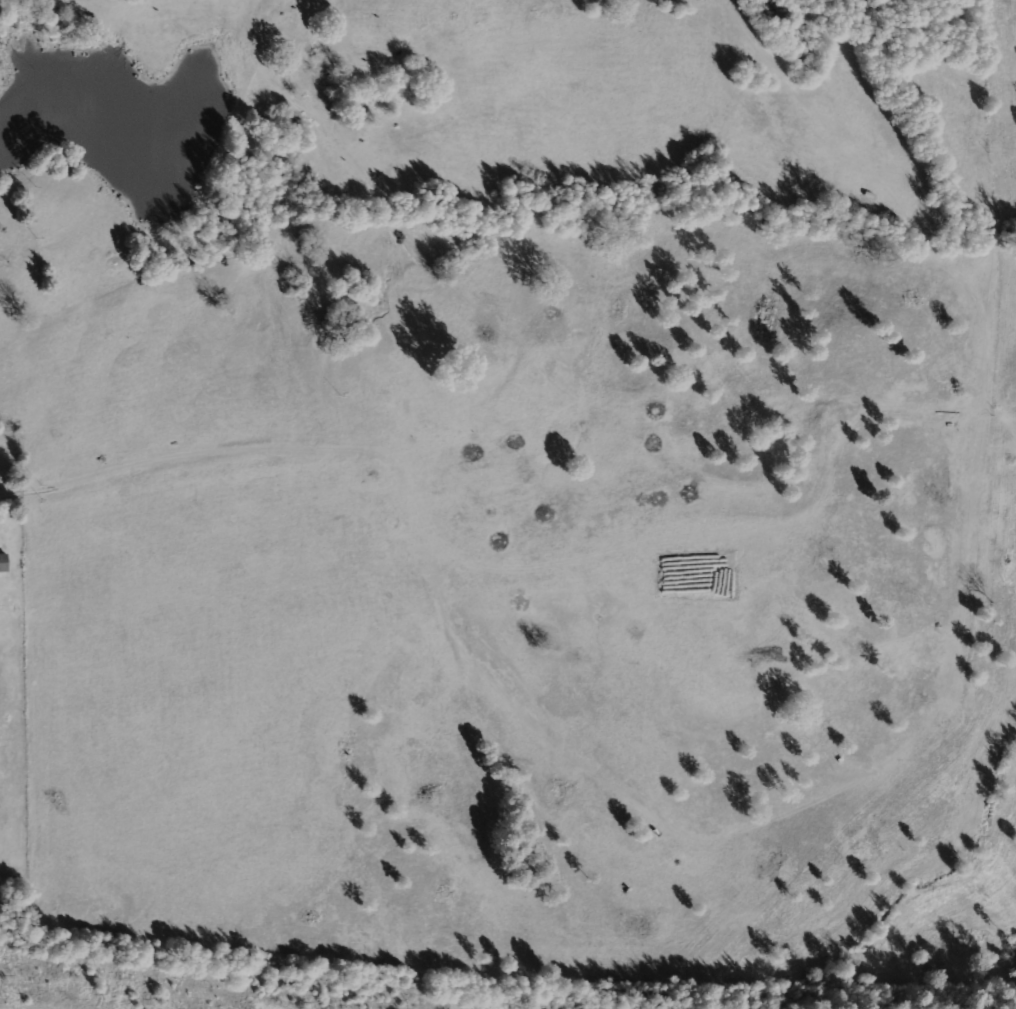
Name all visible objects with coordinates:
building: (4, 562)

